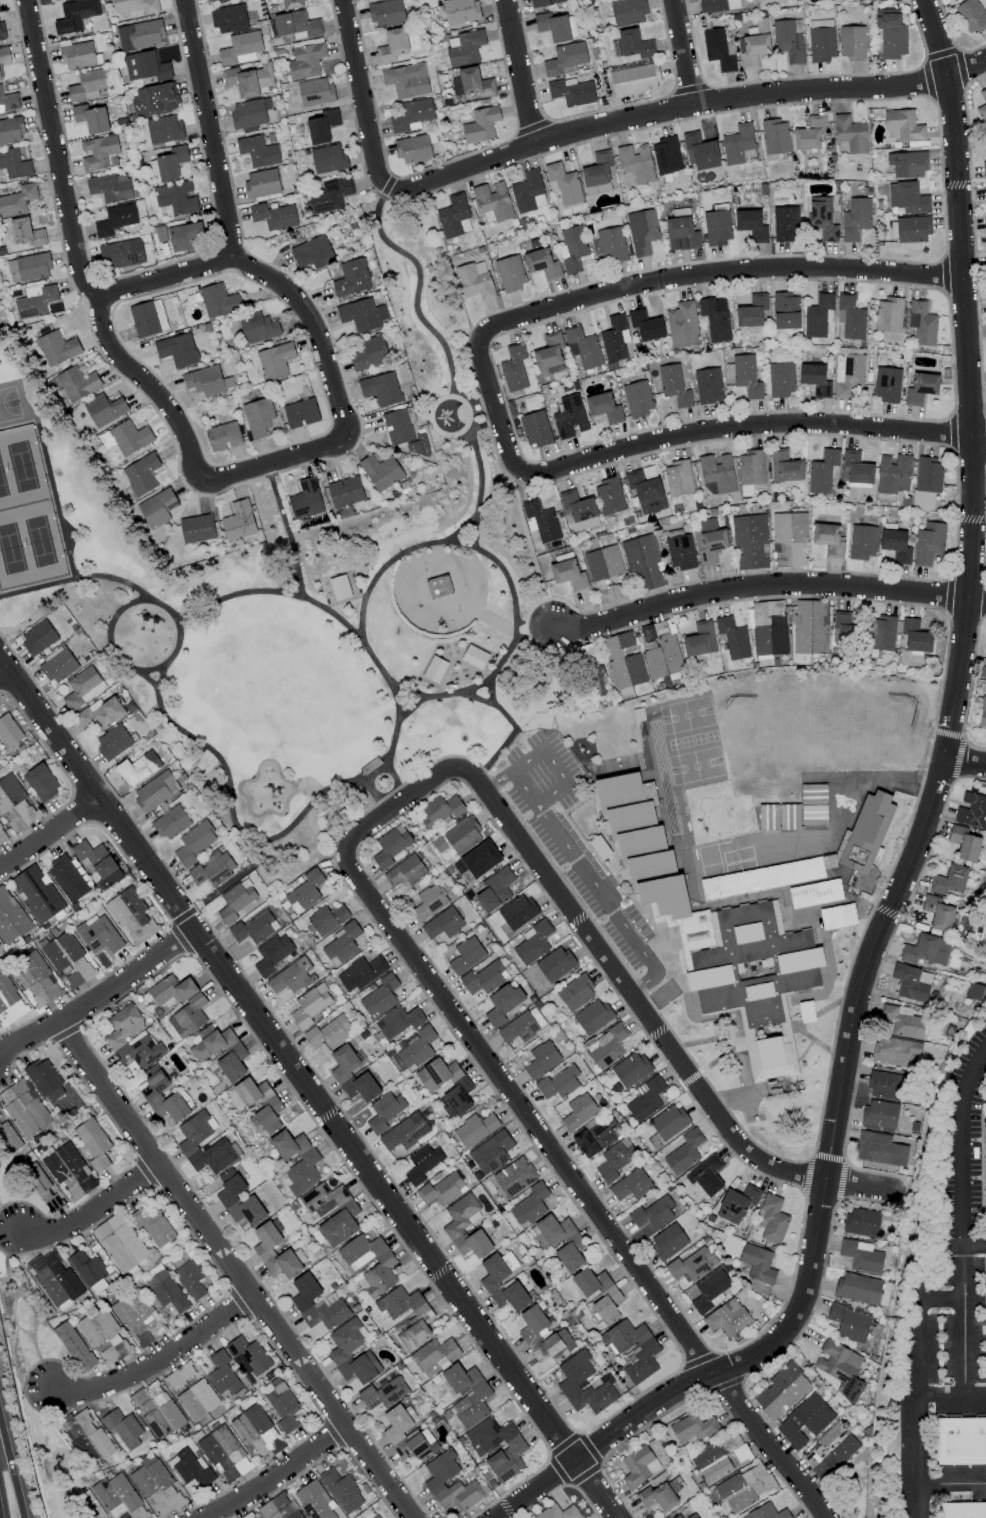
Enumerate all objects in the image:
building: (207, 0)
building: (859, 0)
building: (544, 2)
building: (291, 3)
building: (719, 5)
building: (136, 6)
building: (460, 11)
building: (628, 12)
building: (386, 13)
building: (76, 15)
building: (971, 15)
building: (229, 18)
building: (296, 24)
building: (557, 26)
building: (2, 31)
building: (891, 33)
building: (140, 34)
building: (789, 39)
building: (821, 40)
building: (851, 42)
building: (632, 44)
building: (392, 45)
building: (754, 45)
building: (464, 47)
building: (241, 48)
building: (719, 49)
road: (683, 51)
building: (4, 55)
building: (78, 55)
building: (565, 59)
building: (306, 61)
building: (146, 66)
road: (965, 68)
road: (520, 70)
building: (0, 77)
building: (249, 79)
building: (634, 79)
building: (406, 80)
building: (472, 83)
building: (89, 84)
building: (572, 91)
building: (315, 92)
road: (362, 95)
building: (155, 99)
building: (8, 102)
building: (983, 107)
road: (660, 110)
building: (250, 112)
building: (412, 115)
building: (91, 118)
building: (481, 124)
building: (902, 125)
road: (207, 126)
building: (322, 126)
building: (164, 129)
building: (11, 130)
building: (810, 134)
building: (849, 135)
building: (776, 136)
building: (739, 144)
building: (413, 149)
building: (258, 151)
building: (701, 151)
road: (57, 152)
building: (99, 152)
building: (666, 155)
building: (329, 158)
building: (636, 163)
building: (14, 164)
building: (167, 164)
building: (907, 164)
building: (984, 165)
building: (597, 174)
building: (262, 183)
building: (564, 183)
building: (110, 187)
building: (528, 192)
building: (330, 195)
building: (985, 196)
building: (907, 198)
building: (17, 200)
building: (493, 202)
building: (273, 216)
building: (454, 216)
building: (115, 219)
building: (822, 219)
building: (855, 219)
building: (751, 224)
building: (785, 224)
building: (717, 227)
building: (913, 229)
building: (642, 231)
building: (26, 232)
building: (681, 234)
building: (186, 236)
building: (611, 244)
building: (573, 248)
building: (312, 252)
building: (121, 253)
building: (542, 263)
building: (30, 266)
building: (510, 273)
road: (165, 277)
building: (351, 278)
building: (474, 280)
road: (644, 286)
building: (35, 300)
building: (219, 301)
building: (786, 310)
building: (752, 311)
building: (888, 314)
building: (362, 315)
building: (818, 316)
building: (850, 317)
building: (148, 318)
building: (715, 318)
building: (922, 323)
building: (683, 324)
building: (646, 325)
building: (258, 328)
building: (615, 338)
building: (583, 347)
building: (57, 348)
building: (178, 350)
building: (549, 351)
building: (368, 354)
building: (275, 361)
road: (448, 362)
building: (514, 368)
building: (848, 371)
building: (744, 375)
building: (781, 379)
building: (815, 379)
building: (207, 381)
building: (77, 383)
building: (886, 384)
building: (674, 385)
building: (708, 386)
building: (921, 387)
building: (381, 388)
building: (638, 398)
park: (9, 405)
building: (604, 407)
building: (104, 410)
building: (301, 412)
building: (569, 416)
building: (258, 417)
road: (752, 425)
building: (398, 426)
building: (535, 429)
building: (224, 436)
building: (126, 437)
building: (419, 446)
road: (285, 463)
building: (785, 467)
building: (857, 467)
building: (750, 470)
building: (381, 471)
building: (822, 471)
building: (141, 474)
building: (717, 474)
building: (893, 474)
building: (678, 478)
building: (927, 482)
building: (646, 489)
building: (345, 492)
building: (609, 496)
building: (305, 499)
building: (157, 508)
building: (579, 509)
park: (27, 516)
building: (542, 520)
building: (239, 521)
building: (197, 528)
building: (790, 539)
building: (828, 539)
building: (709, 541)
building: (750, 541)
building: (862, 542)
building: (928, 543)
building: (896, 545)
building: (680, 552)
building: (644, 561)
building: (603, 563)
road: (503, 572)
building: (568, 574)
road: (767, 581)
building: (439, 586)
building: (339, 587)
road: (260, 591)
park: (299, 597)
building: (810, 626)
building: (769, 628)
building: (844, 629)
building: (882, 632)
building: (916, 636)
building: (38, 637)
building: (733, 638)
building: (700, 639)
building: (662, 648)
building: (474, 657)
building: (623, 662)
building: (58, 665)
building: (435, 669)
road: (1, 670)
building: (83, 688)
road: (492, 692)
building: (983, 712)
building: (99, 714)
building: (638, 715)
park: (687, 715)
road: (510, 721)
park: (875, 728)
park: (769, 729)
building: (9, 731)
building: (113, 742)
road: (964, 760)
park: (695, 765)
building: (137, 766)
road: (555, 767)
building: (41, 782)
building: (155, 791)
building: (813, 794)
building: (17, 799)
building: (972, 810)
building: (440, 811)
building: (814, 815)
building: (789, 816)
building: (768, 817)
building: (171, 822)
road: (48, 832)
building: (866, 832)
building: (2, 835)
building: (463, 835)
building: (195, 842)
building: (964, 842)
parking lot: (574, 843)
road: (915, 843)
building: (391, 846)
building: (600, 847)
building: (477, 860)
building: (98, 861)
building: (828, 861)
building: (213, 869)
road: (584, 870)
building: (405, 871)
building: (70, 878)
building: (762, 879)
building: (950, 880)
building: (495, 889)
building: (305, 892)
building: (37, 893)
building: (815, 893)
building: (236, 900)
building: (428, 902)
building: (517, 912)
building: (937, 913)
building: (131, 916)
building: (837, 916)
building: (11, 917)
building: (326, 919)
building: (443, 923)
building: (254, 928)
building: (712, 929)
building: (99, 934)
building: (533, 942)
building: (342, 944)
flagpole: (653, 944)
building: (926, 949)
building: (272, 954)
building: (466, 955)
building: (54, 956)
building: (75, 958)
building: (555, 964)
road: (613, 970)
building: (361, 973)
building: (34, 974)
building: (292, 976)
building: (483, 978)
building: (911, 982)
building: (576, 992)
building: (976, 992)
road: (95, 996)
building: (380, 996)
building: (9, 1002)
building: (180, 1003)
building: (503, 1004)
building: (310, 1005)
building: (806, 1012)
building: (593, 1016)
building: (901, 1020)
building: (398, 1021)
building: (522, 1026)
building: (329, 1032)
building: (131, 1038)
building: (606, 1047)
building: (415, 1049)
building: (894, 1050)
building: (203, 1051)
building: (541, 1059)
building: (630, 1069)
building: (342, 1075)
building: (45, 1080)
building: (558, 1083)
building: (885, 1084)
road: (307, 1091)
building: (459, 1091)
building: (152, 1096)
building: (646, 1099)
building: (241, 1102)
building: (24, 1108)
road: (521, 1109)
building: (384, 1111)
building: (578, 1112)
building: (879, 1115)
building: (668, 1121)
building: (474, 1129)
building: (405, 1132)
building: (597, 1136)
building: (9, 1137)
building: (190, 1141)
building: (94, 1143)
building: (880, 1148)
building: (491, 1152)
building: (684, 1152)
building: (615, 1159)
building: (296, 1160)
building: (422, 1163)
building: (69, 1172)
building: (984, 1172)
building: (707, 1175)
building: (514, 1177)
building: (41, 1185)
building: (631, 1185)
building: (442, 1189)
building: (228, 1199)
building: (737, 1203)
building: (530, 1205)
road: (91, 1211)
building: (653, 1213)
building: (346, 1214)
building: (773, 1219)
road: (963, 1219)
building: (862, 1222)
building: (458, 1224)
building: (153, 1227)
building: (538, 1237)
building: (563, 1241)
building: (668, 1241)
building: (121, 1245)
road: (974, 1246)
building: (264, 1252)
building: (862, 1256)
building: (758, 1263)
building: (692, 1264)
building: (383, 1266)
building: (89, 1271)
road: (229, 1274)
building: (55, 1279)
building: (190, 1279)
building: (590, 1282)
building: (858, 1288)
building: (166, 1291)
building: (710, 1291)
building: (316, 1304)
building: (607, 1306)
building: (138, 1316)
road: (13, 1318)
building: (421, 1318)
building: (728, 1318)
building: (849, 1322)
building: (533, 1324)
building: (104, 1337)
building: (74, 1346)
building: (554, 1346)
building: (632, 1349)
building: (340, 1350)
building: (434, 1353)
building: (249, 1356)
road: (38, 1358)
road: (158, 1367)
building: (838, 1367)
building: (222, 1374)
building: (583, 1384)
road: (917, 1385)
building: (781, 1390)
building: (383, 1393)
building: (467, 1394)
road: (951, 1397)
building: (197, 1399)
building: (281, 1404)
building: (158, 1410)
building: (804, 1420)
building: (123, 1427)
building: (693, 1428)
building: (257, 1432)
building: (407, 1434)
building: (86, 1437)
road: (11, 1440)
building: (961, 1440)
road: (770, 1445)
building: (497, 1447)
building: (830, 1450)
building: (224, 1454)
building: (710, 1463)
building: (639, 1466)
building: (191, 1468)
park: (59, 1470)
road: (280, 1476)
building: (450, 1483)
road: (951, 1485)
building: (156, 1486)
building: (745, 1487)
park: (852, 1487)
building: (342, 1491)
building: (658, 1496)
building: (119, 1497)
building: (314, 1500)
road: (24, 1502)
building: (279, 1508)
building: (964, 1510)
building: (558, 1512)
building: (766, 1512)
building: (248, 1516)
building: (678, 1516)
building: (692, 1516)
building: (377, 1517)

